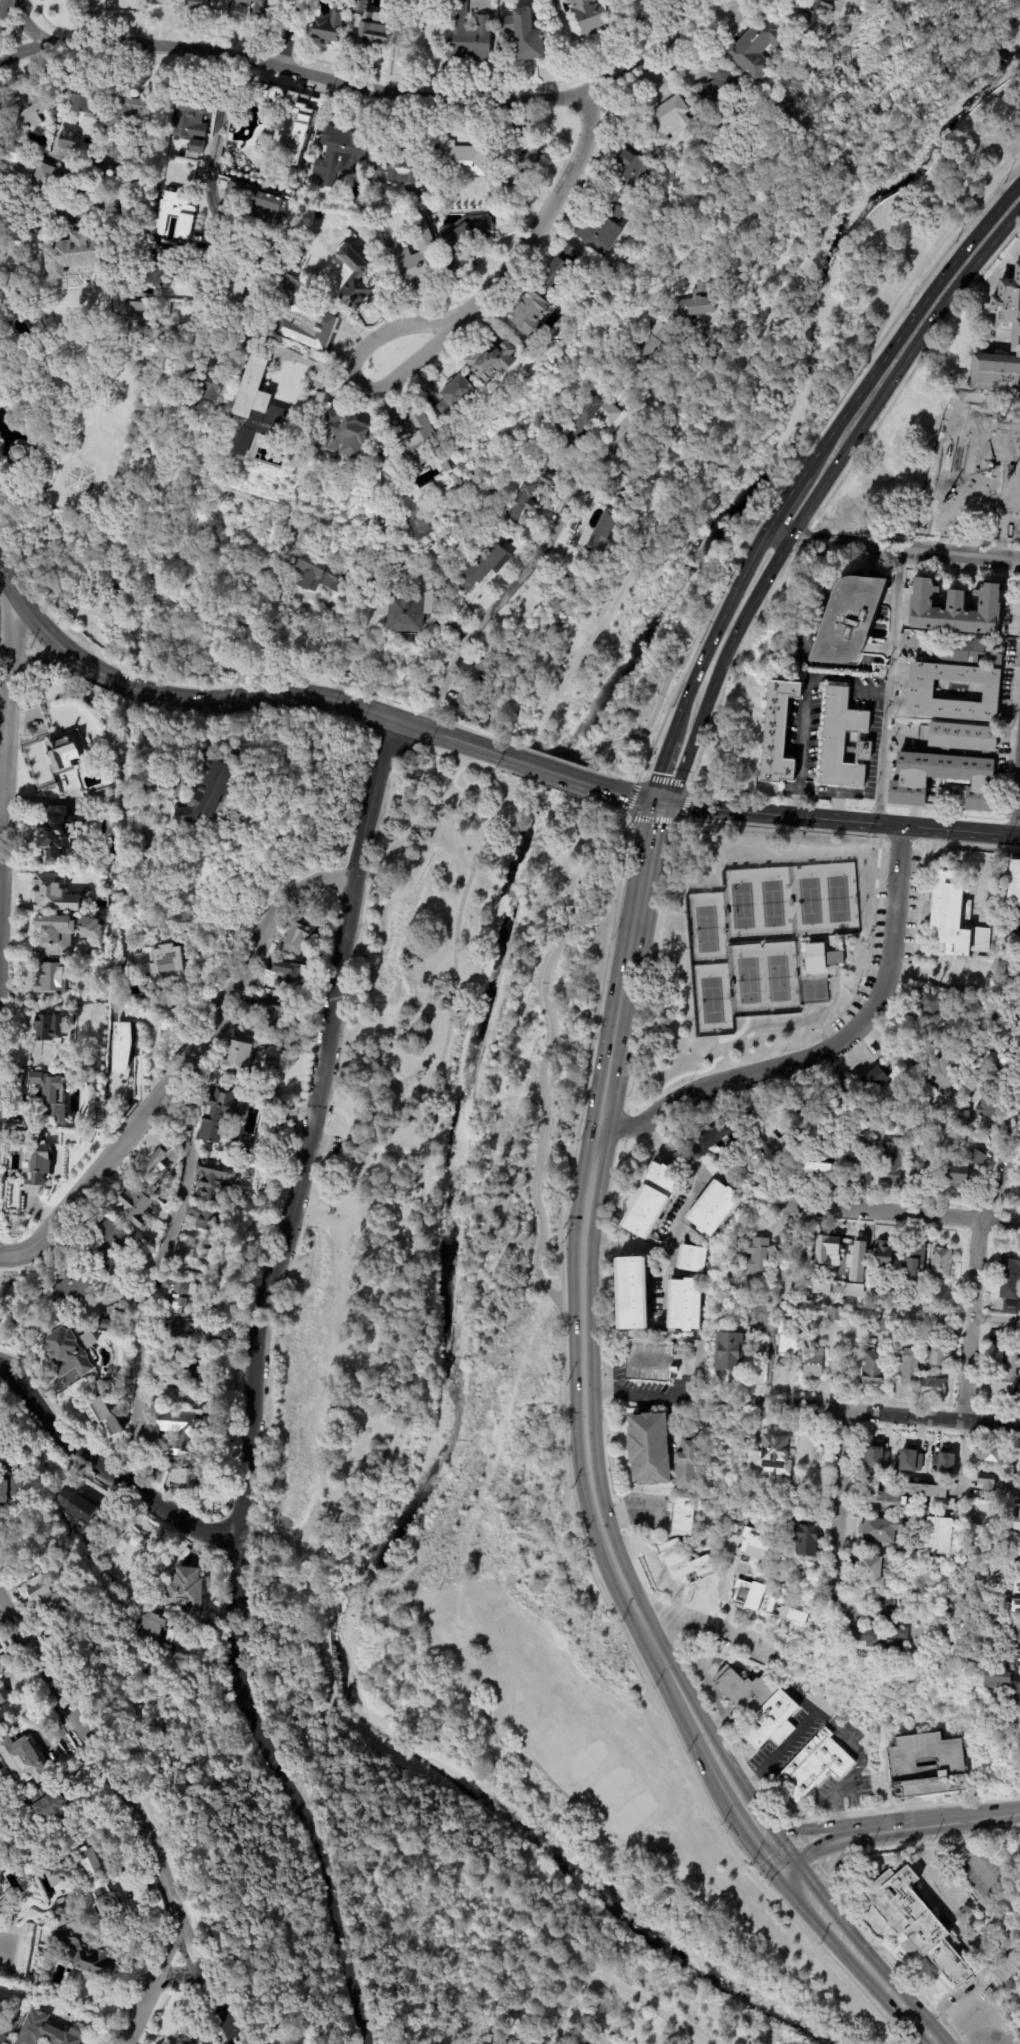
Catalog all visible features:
building: (155, 1)
building: (399, 1)
building: (122, 2)
building: (202, 5)
building: (256, 8)
road: (3, 10)
building: (814, 11)
building: (590, 16)
building: (505, 24)
building: (328, 26)
building: (366, 26)
road: (27, 29)
road: (293, 33)
building: (526, 33)
building: (467, 35)
road: (142, 44)
building: (755, 48)
road: (26, 59)
road: (258, 60)
building: (82, 96)
building: (718, 99)
road: (509, 100)
building: (28, 104)
building: (120, 120)
building: (190, 122)
building: (664, 122)
building: (302, 132)
building: (66, 140)
building: (264, 143)
building: (8, 155)
building: (338, 155)
building: (459, 163)
building: (517, 169)
building: (632, 174)
building: (400, 175)
building: (44, 178)
building: (2, 190)
road: (209, 195)
building: (436, 196)
building: (153, 202)
building: (61, 206)
building: (256, 206)
building: (96, 207)
building: (173, 215)
building: (601, 228)
building: (465, 239)
building: (76, 255)
building: (713, 256)
building: (415, 264)
building: (158, 269)
building: (558, 270)
building: (352, 280)
road: (802, 291)
building: (235, 294)
building: (695, 301)
road: (867, 307)
building: (133, 310)
building: (531, 316)
building: (302, 318)
building: (1008, 322)
road: (453, 324)
road: (907, 324)
building: (645, 346)
park: (788, 357)
building: (490, 359)
road: (314, 365)
building: (199, 383)
building: (455, 398)
building: (254, 405)
building: (586, 416)
road: (623, 425)
building: (341, 436)
building: (414, 447)
building: (148, 449)
building: (20, 453)
building: (445, 466)
building: (524, 485)
building: (956, 492)
road: (817, 493)
road: (1003, 499)
road: (783, 503)
building: (297, 530)
road: (554, 531)
building: (601, 531)
road: (891, 549)
building: (484, 565)
building: (324, 573)
building: (55, 582)
building: (149, 584)
road: (8, 588)
building: (96, 597)
building: (408, 603)
building: (956, 609)
building: (850, 617)
road: (5, 622)
road: (713, 635)
road: (314, 646)
building: (970, 651)
road: (365, 658)
building: (480, 682)
road: (887, 687)
building: (922, 690)
road: (252, 699)
road: (5, 701)
road: (804, 706)
building: (779, 730)
building: (964, 736)
building: (843, 740)
building: (63, 753)
building: (121, 759)
road: (1, 764)
road: (661, 771)
road: (553, 773)
building: (908, 784)
building: (206, 790)
road: (458, 790)
road: (625, 796)
road: (74, 801)
traffic signals: (658, 804)
road: (1017, 810)
road: (779, 815)
building: (58, 832)
road: (960, 832)
building: (151, 860)
building: (1013, 883)
building: (126, 885)
building: (55, 894)
road: (895, 897)
park: (837, 898)
park: (809, 900)
park: (771, 902)
park: (741, 904)
building: (953, 917)
park: (705, 928)
building: (63, 933)
road: (635, 935)
building: (294, 939)
road: (552, 956)
building: (161, 957)
building: (813, 957)
building: (833, 957)
building: (1011, 970)
building: (289, 972)
building: (51, 978)
park: (777, 978)
park: (748, 980)
building: (276, 984)
park: (711, 999)
building: (929, 1003)
building: (182, 1010)
building: (273, 1012)
building: (171, 1014)
road: (866, 1017)
building: (50, 1027)
building: (1005, 1038)
building: (120, 1048)
road: (442, 1057)
building: (238, 1059)
building: (1000, 1063)
building: (908, 1069)
road: (180, 1071)
building: (945, 1071)
building: (876, 1077)
road: (729, 1082)
building: (79, 1087)
building: (836, 1092)
building: (953, 1092)
building: (28, 1093)
road: (606, 1095)
building: (52, 1097)
road: (586, 1097)
building: (858, 1105)
building: (990, 1105)
building: (84, 1109)
building: (216, 1114)
building: (959, 1118)
road: (620, 1125)
building: (802, 1129)
building: (21, 1132)
building: (706, 1139)
building: (933, 1143)
building: (41, 1154)
building: (890, 1162)
building: (855, 1167)
building: (961, 1167)
building: (916, 1168)
building: (153, 1169)
building: (818, 1171)
building: (213, 1179)
road: (997, 1180)
building: (649, 1201)
road: (357, 1205)
building: (133, 1207)
building: (710, 1209)
road: (685, 1211)
road: (897, 1213)
building: (205, 1219)
building: (103, 1244)
building: (797, 1250)
building: (823, 1255)
building: (755, 1256)
building: (881, 1256)
building: (854, 1258)
building: (690, 1259)
building: (192, 1262)
building: (910, 1262)
building: (939, 1263)
road: (975, 1269)
building: (1007, 1275)
road: (154, 1286)
building: (69, 1290)
building: (840, 1292)
building: (872, 1292)
building: (182, 1296)
building: (628, 1296)
building: (682, 1307)
building: (1009, 1307)
road: (867, 1308)
building: (832, 1316)
building: (877, 1325)
building: (176, 1328)
building: (1008, 1334)
building: (785, 1339)
building: (937, 1352)
building: (67, 1353)
building: (728, 1353)
building: (696, 1359)
building: (648, 1362)
building: (811, 1363)
building: (905, 1365)
building: (869, 1366)
building: (1019, 1366)
building: (175, 1369)
road: (966, 1370)
building: (1001, 1374)
road: (249, 1386)
building: (932, 1389)
building: (1017, 1390)
road: (633, 1394)
road: (807, 1408)
road: (587, 1410)
building: (104, 1415)
road: (935, 1419)
road: (987, 1424)
road: (1016, 1427)
building: (188, 1437)
building: (647, 1446)
building: (879, 1450)
building: (774, 1451)
building: (986, 1452)
building: (937, 1454)
building: (684, 1460)
road: (962, 1461)
building: (933, 1463)
building: (906, 1465)
road: (100, 1471)
building: (182, 1476)
building: (983, 1483)
building: (8, 1484)
building: (925, 1488)
building: (882, 1494)
road: (838, 1495)
park: (479, 1496)
building: (76, 1509)
building: (680, 1515)
building: (792, 1518)
building: (1010, 1521)
building: (878, 1528)
building: (934, 1535)
building: (804, 1537)
building: (135, 1541)
building: (754, 1542)
building: (1017, 1555)
road: (345, 1558)
building: (680, 1559)
building: (869, 1568)
road: (390, 1580)
building: (184, 1589)
building: (40, 1591)
building: (931, 1591)
building: (747, 1592)
building: (1018, 1600)
building: (1015, 1606)
building: (785, 1608)
building: (995, 1610)
road: (700, 1625)
building: (157, 1630)
building: (882, 1633)
building: (1015, 1633)
building: (980, 1654)
building: (1017, 1657)
building: (1003, 1684)
building: (742, 1688)
building: (820, 1703)
road: (707, 1708)
building: (2, 1709)
building: (768, 1721)
road: (696, 1740)
road: (773, 1756)
park: (587, 1757)
building: (21, 1761)
building: (925, 1765)
building: (813, 1766)
road: (753, 1779)
park: (611, 1784)
road: (768, 1797)
road: (941, 1801)
building: (45, 1807)
road: (737, 1807)
road: (859, 1810)
park: (634, 1811)
road: (850, 1811)
road: (838, 1813)
road: (131, 1814)
road: (804, 1816)
road: (798, 1818)
road: (957, 1821)
road: (797, 1826)
road: (882, 1829)
road: (807, 1830)
road: (799, 1841)
road: (763, 1844)
road: (823, 1845)
road: (810, 1855)
road: (775, 1858)
road: (975, 1862)
traffic signals: (781, 1870)
road: (822, 1870)
road: (836, 1872)
building: (84, 1880)
road: (830, 1880)
road: (935, 1881)
road: (838, 1885)
road: (842, 1887)
road: (802, 1897)
building: (62, 1915)
building: (916, 1921)
road: (468, 1939)
road: (670, 1948)
building: (83, 1954)
road: (852, 1955)
building: (1008, 1965)
building: (46, 1972)
road: (149, 1982)
road: (979, 1994)
building: (2, 2008)
road: (631, 2013)
road: (907, 2015)
building: (44, 2032)
building: (3, 2035)
road: (989, 2038)
building: (180, 2041)
road: (262, 2042)

